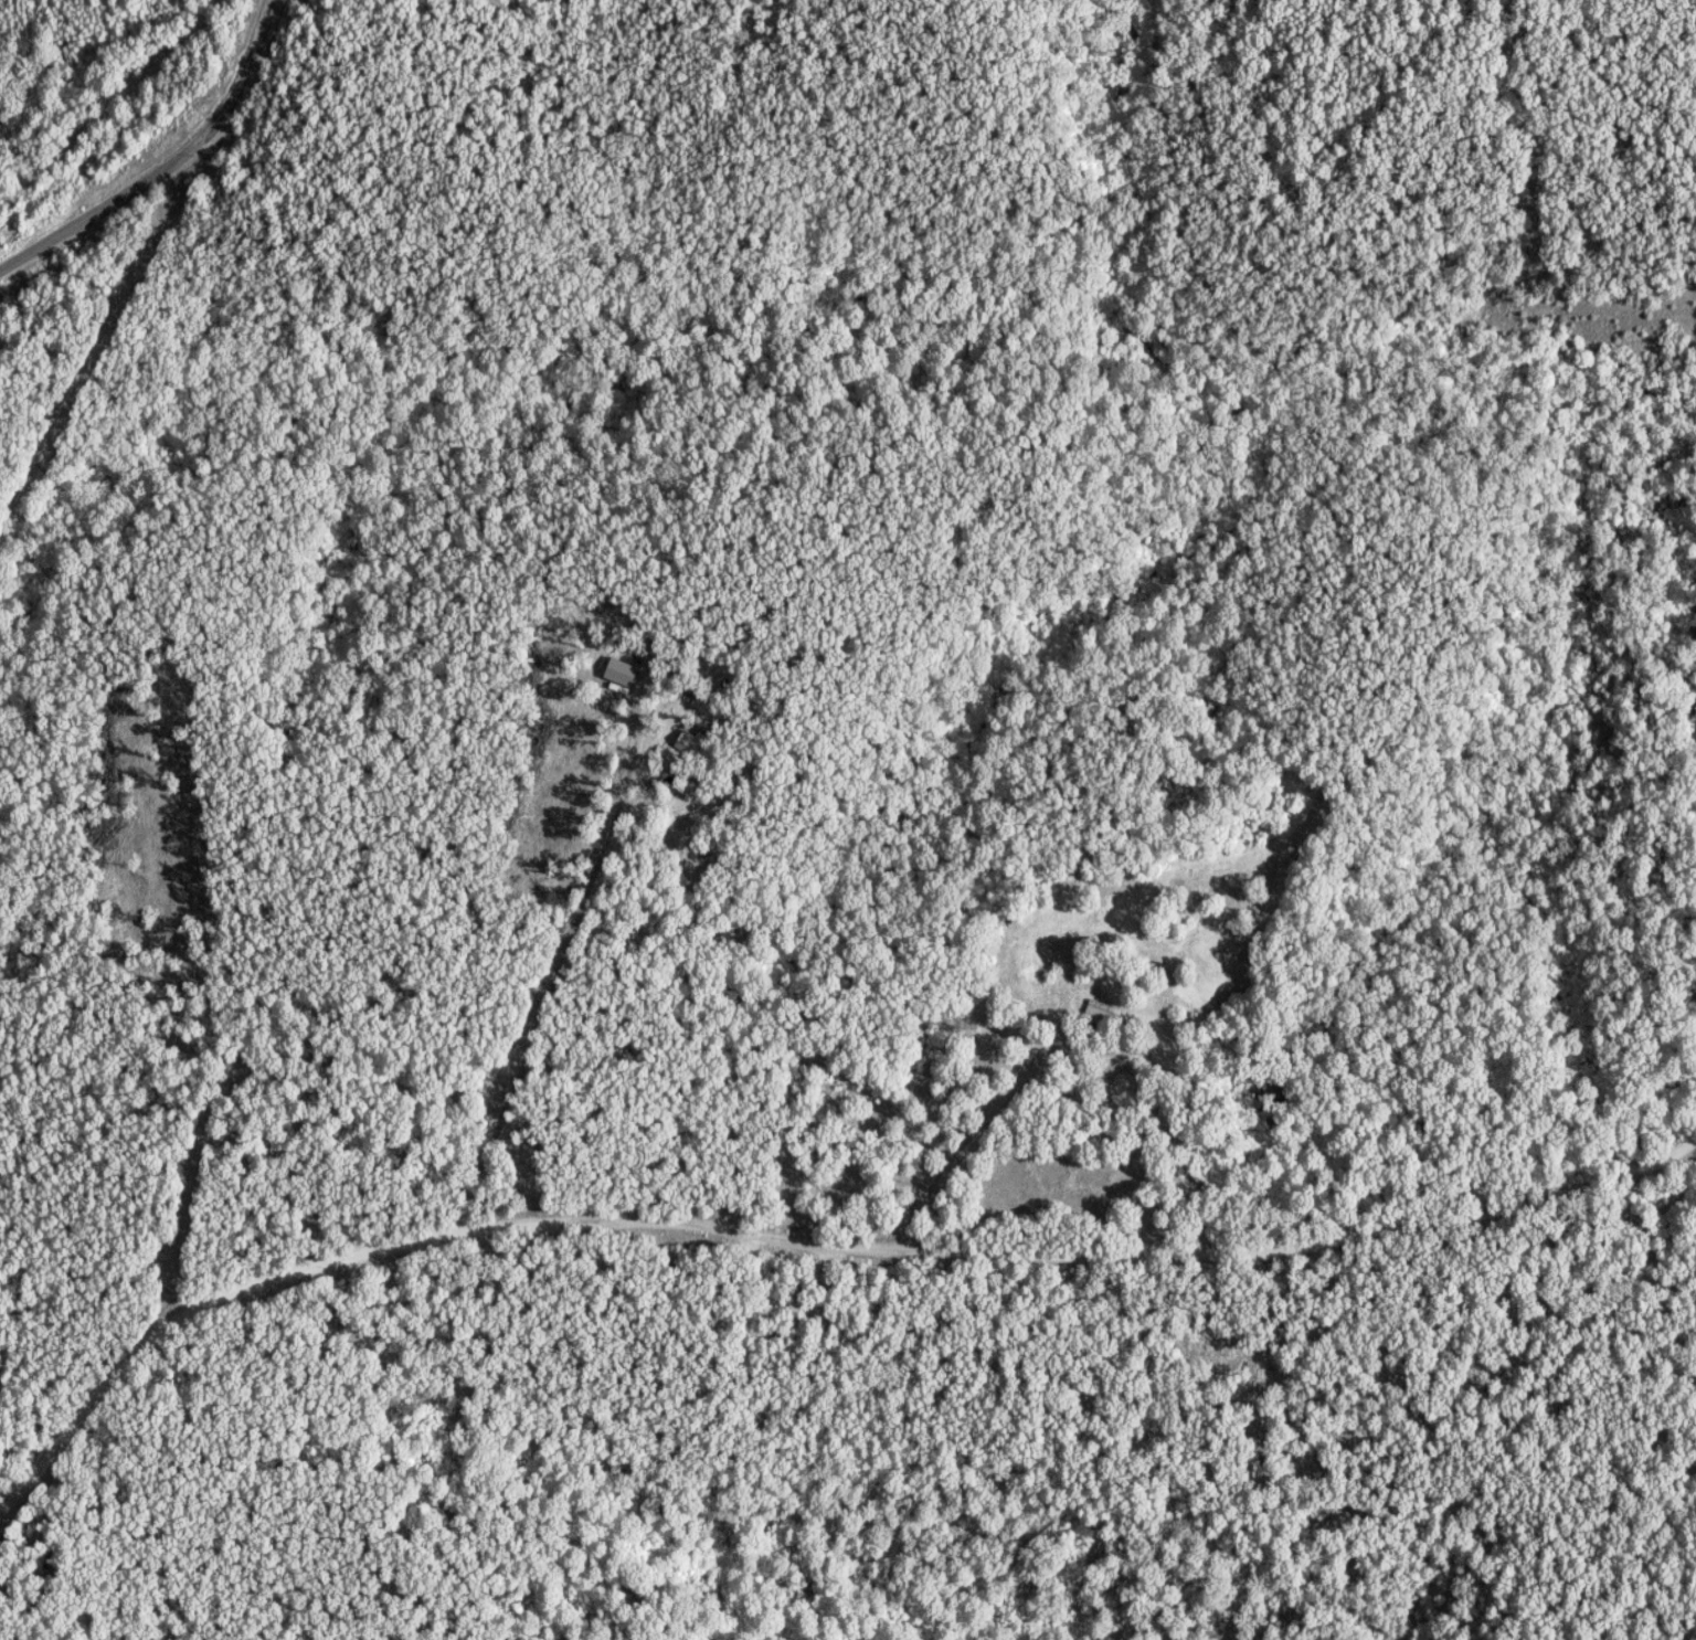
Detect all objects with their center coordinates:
road: (168, 162)
building: (621, 671)
road: (569, 952)
road: (990, 1114)
road: (805, 1241)

